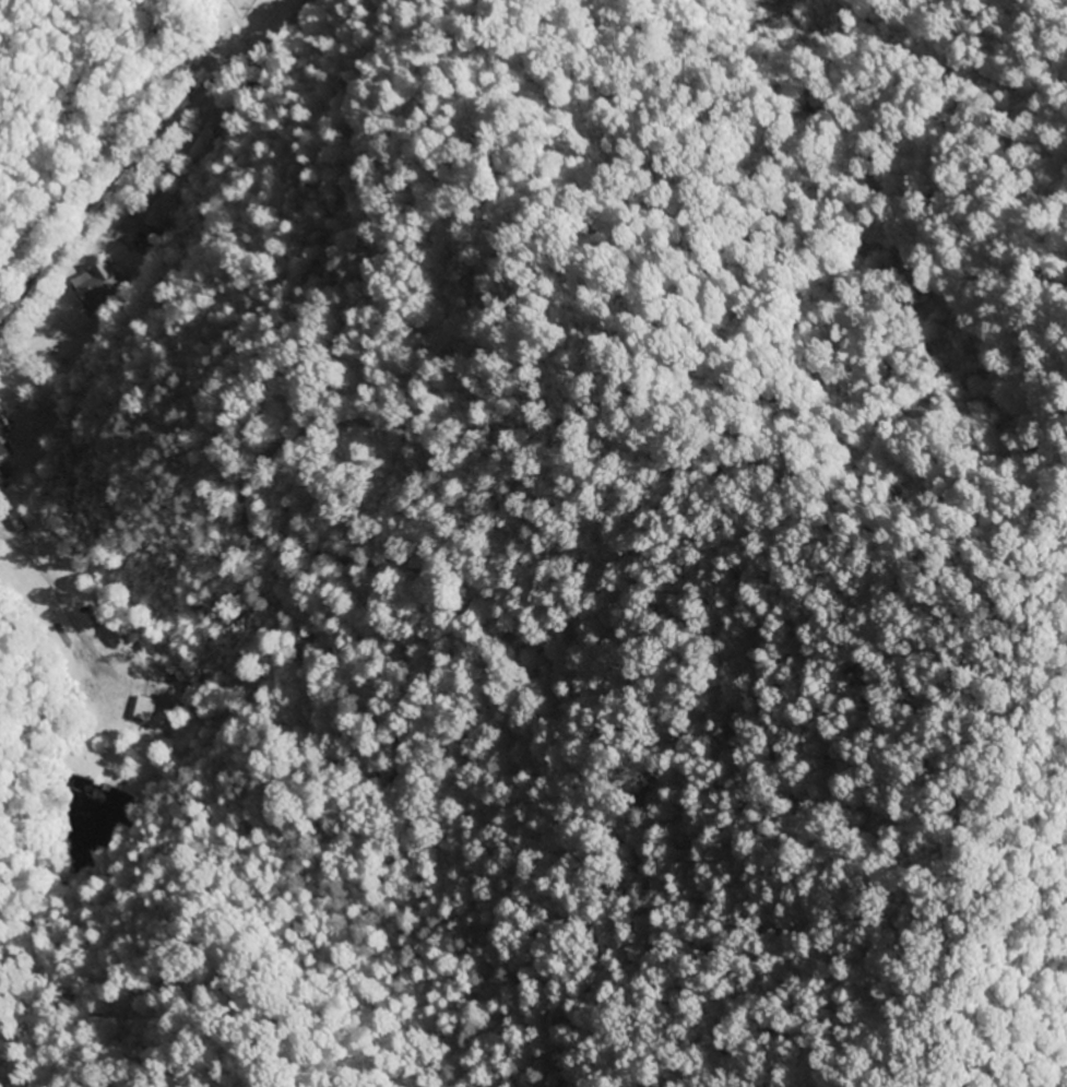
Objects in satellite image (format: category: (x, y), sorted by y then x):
road: (144, 156)
building: (92, 287)
building: (3, 445)
building: (2, 481)
building: (112, 636)
building: (140, 709)

